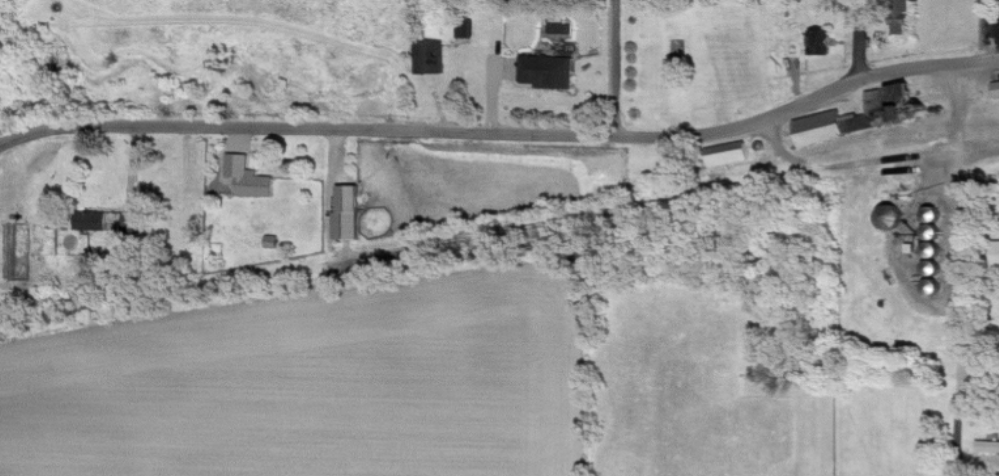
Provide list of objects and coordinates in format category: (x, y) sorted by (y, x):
building: (905, 16)
road: (980, 32)
road: (858, 40)
building: (823, 43)
building: (428, 57)
road: (614, 70)
building: (548, 71)
building: (995, 89)
road: (806, 103)
road: (961, 115)
building: (823, 128)
road: (241, 129)
road: (549, 138)
building: (729, 154)
building: (249, 178)
building: (350, 214)
building: (897, 218)
building: (93, 221)
building: (939, 222)
building: (137, 223)
building: (273, 242)
building: (939, 251)
building: (938, 268)
building: (938, 288)
road: (960, 300)
road: (979, 363)
building: (988, 447)

